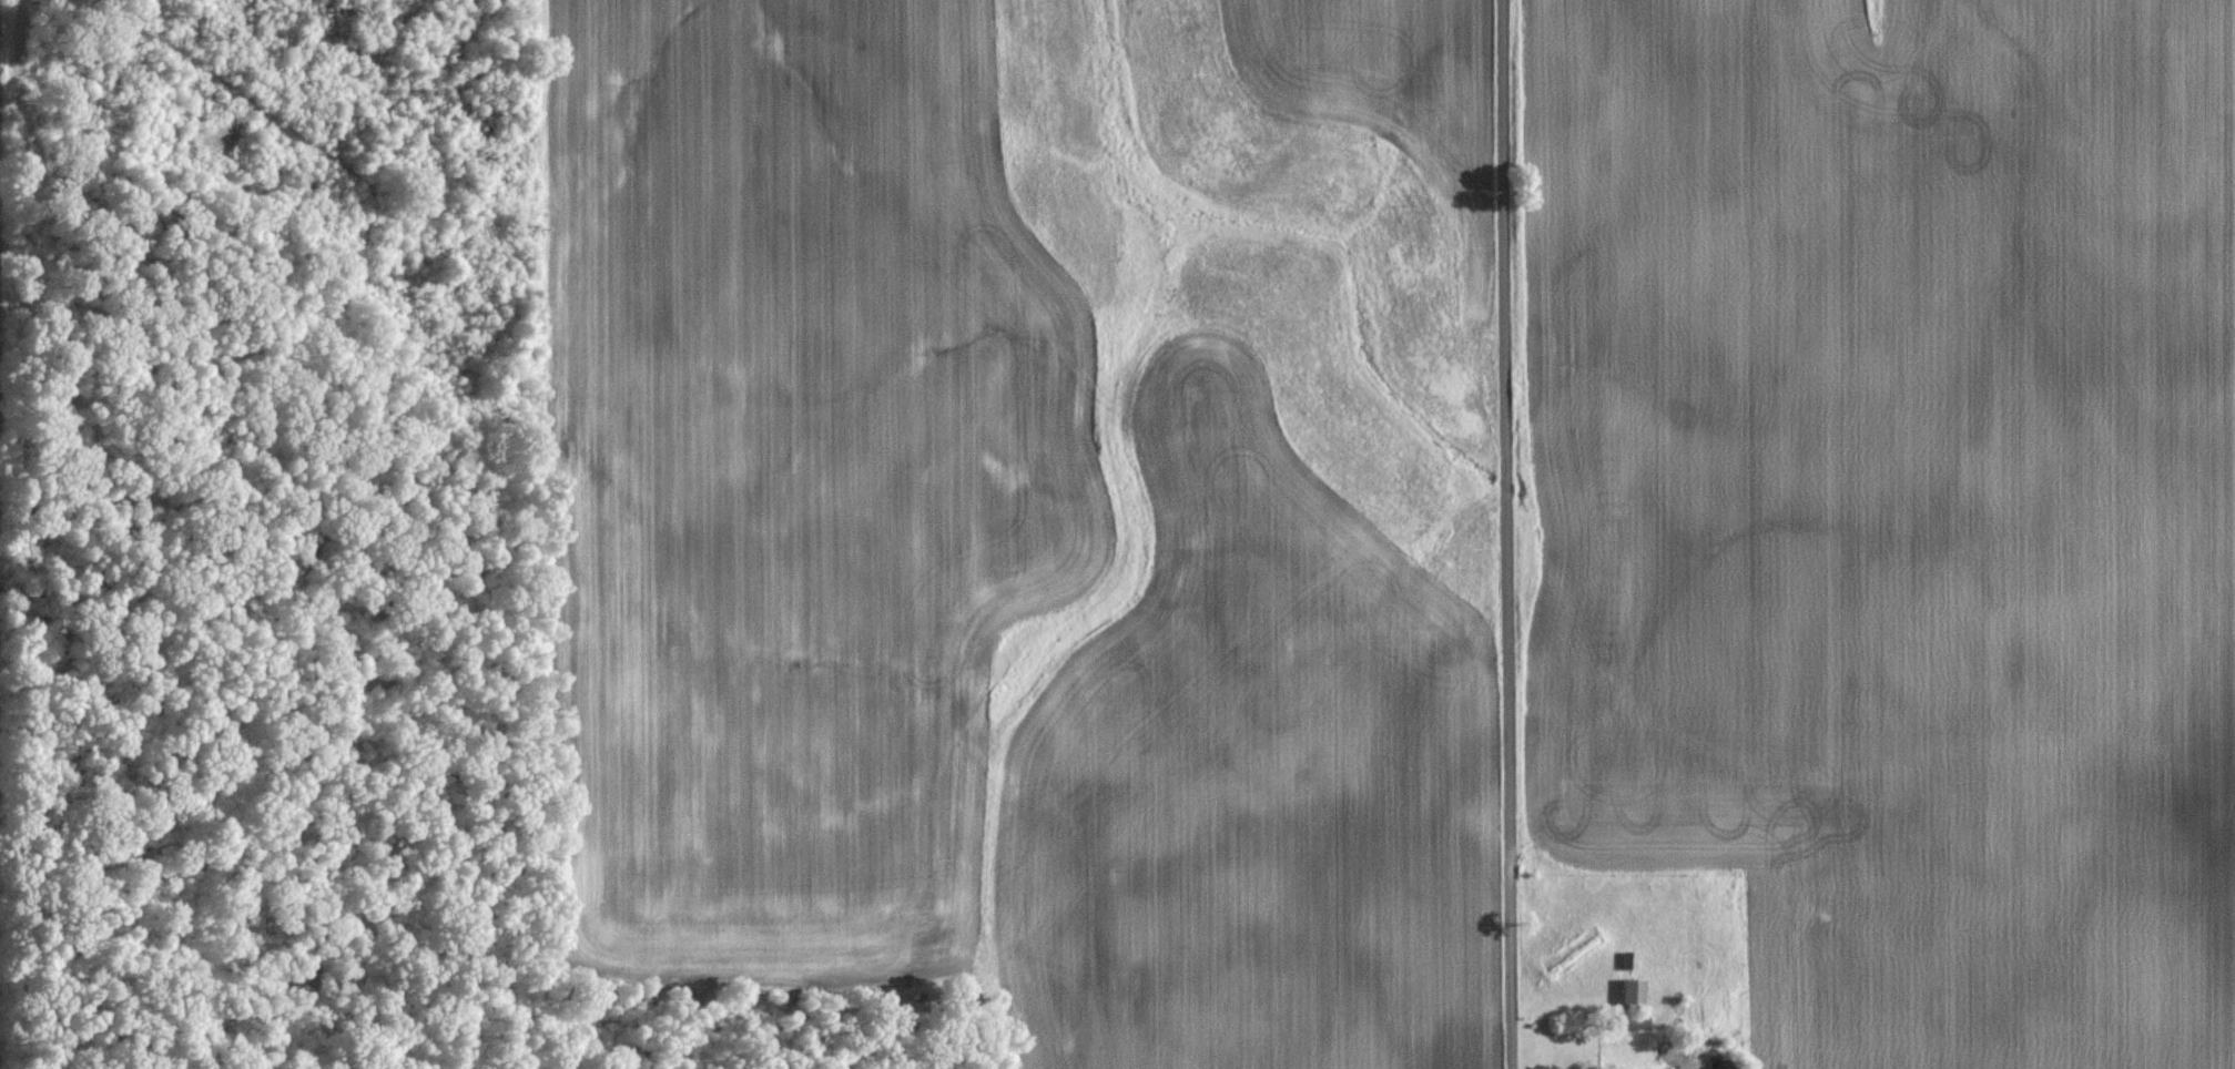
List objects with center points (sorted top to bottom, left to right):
road: (1506, 534)
building: (1634, 1001)

